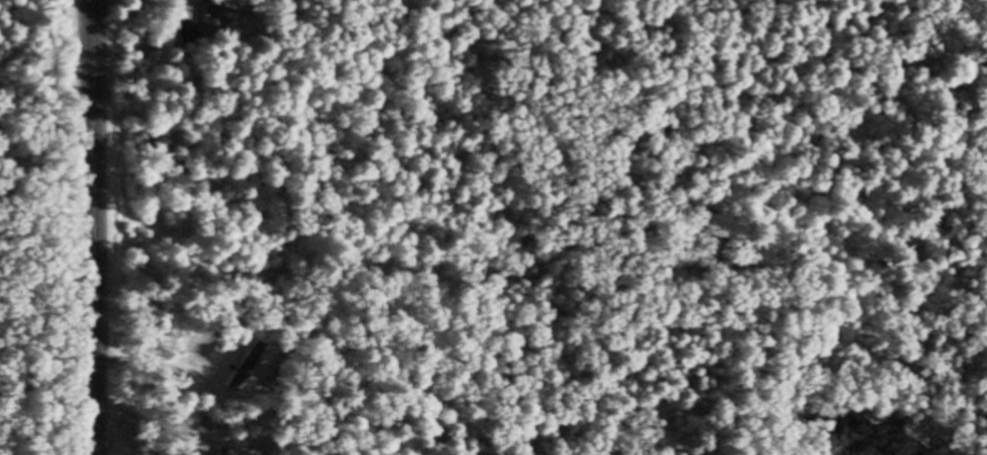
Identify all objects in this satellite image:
building: (210, 15)
building: (185, 32)
road: (93, 227)
building: (245, 365)
building: (217, 451)

